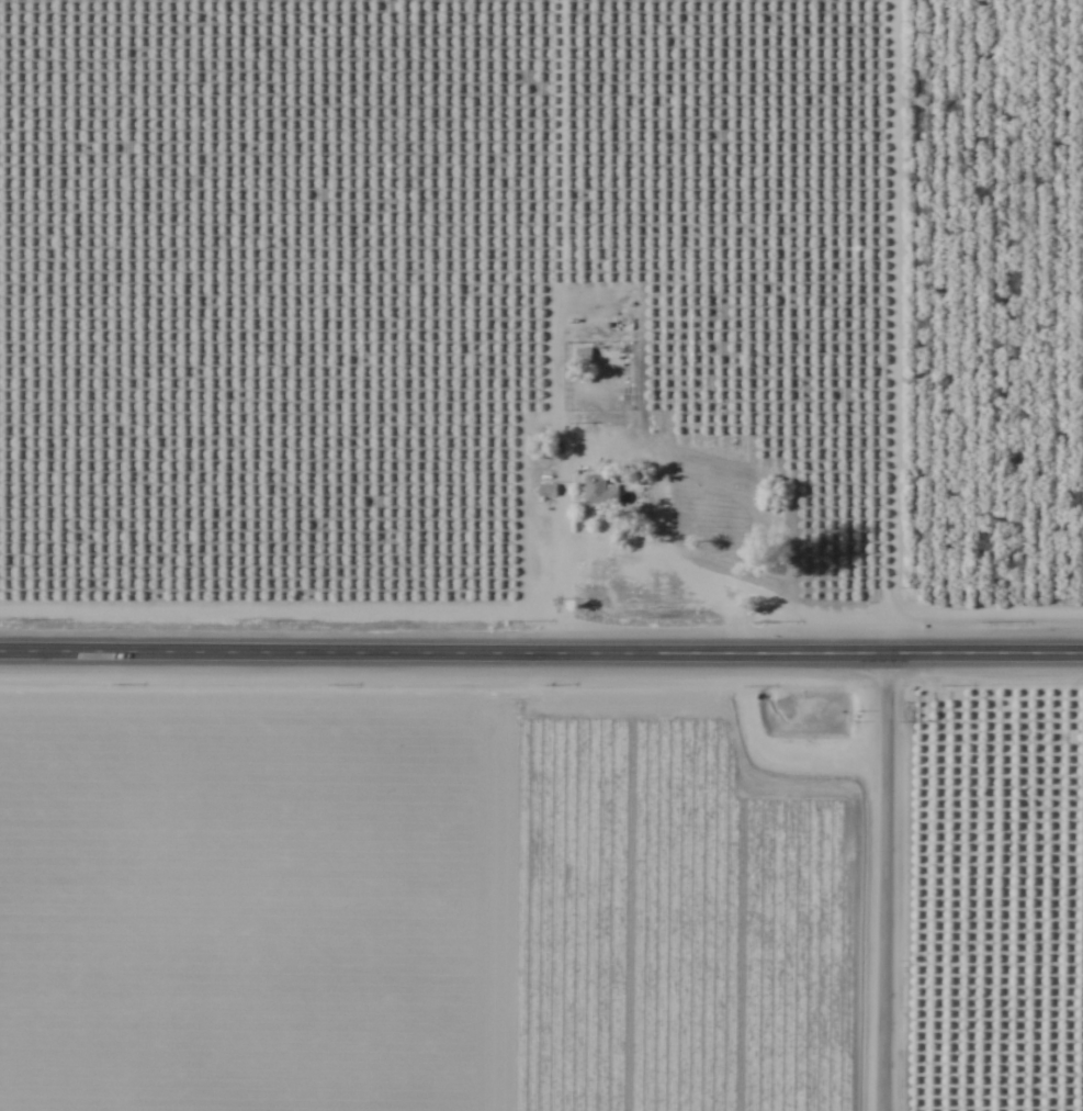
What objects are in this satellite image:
building: (590, 352)
building: (596, 492)
road: (887, 555)
road: (541, 652)
crop: (540, 898)

